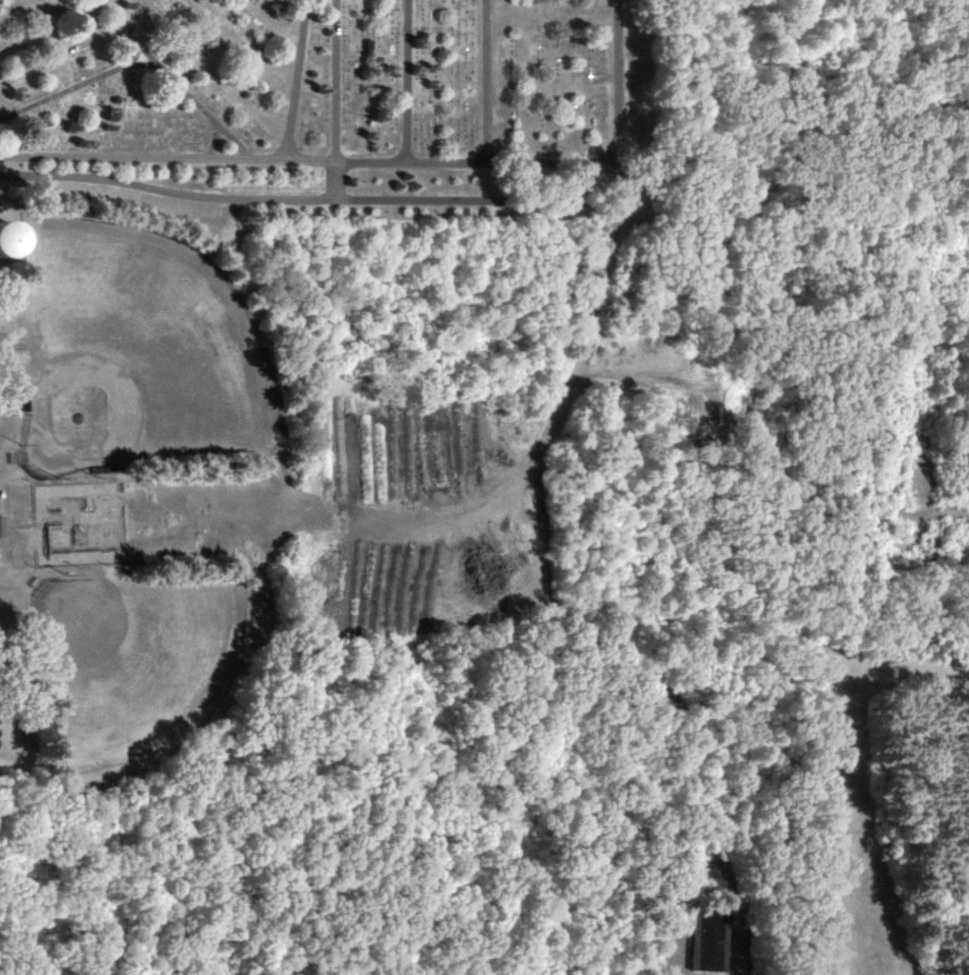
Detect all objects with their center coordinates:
road: (2, 6)
road: (51, 10)
road: (139, 25)
road: (70, 53)
road: (137, 54)
road: (214, 72)
road: (296, 78)
road: (330, 79)
road: (401, 80)
road: (479, 80)
road: (618, 81)
park: (311, 99)
park: (808, 116)
road: (209, 143)
road: (309, 158)
road: (331, 180)
road: (325, 201)
building: (12, 237)
park: (137, 362)
park: (299, 516)
building: (2, 527)
park: (132, 662)
building: (705, 936)

